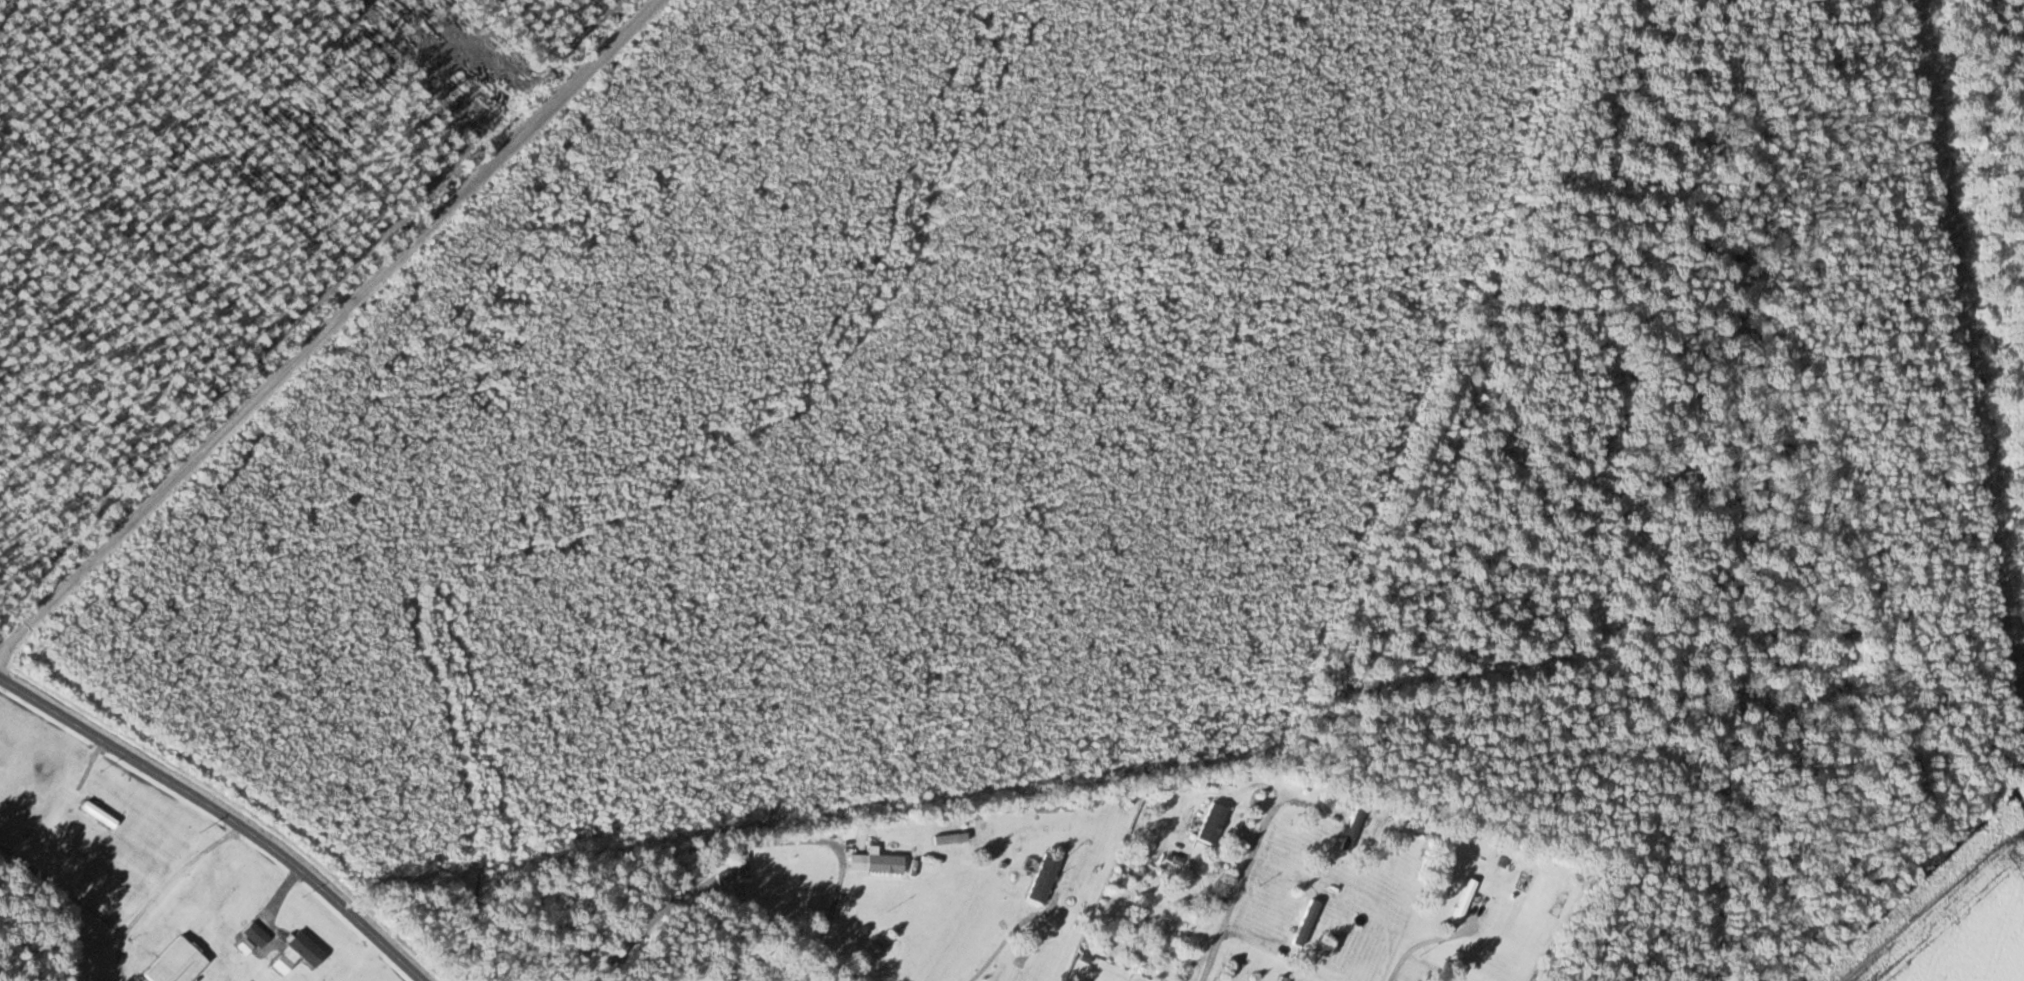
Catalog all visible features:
road: (348, 336)
road: (5, 668)
road: (231, 807)
building: (99, 814)
building: (1212, 823)
building: (875, 862)
building: (743, 865)
building: (1044, 878)
road: (1242, 888)
building: (214, 890)
road: (722, 893)
building: (1464, 901)
building: (256, 934)
road: (1432, 944)
building: (305, 949)
building: (1027, 952)
road: (996, 953)
building: (179, 961)
building: (1284, 978)

